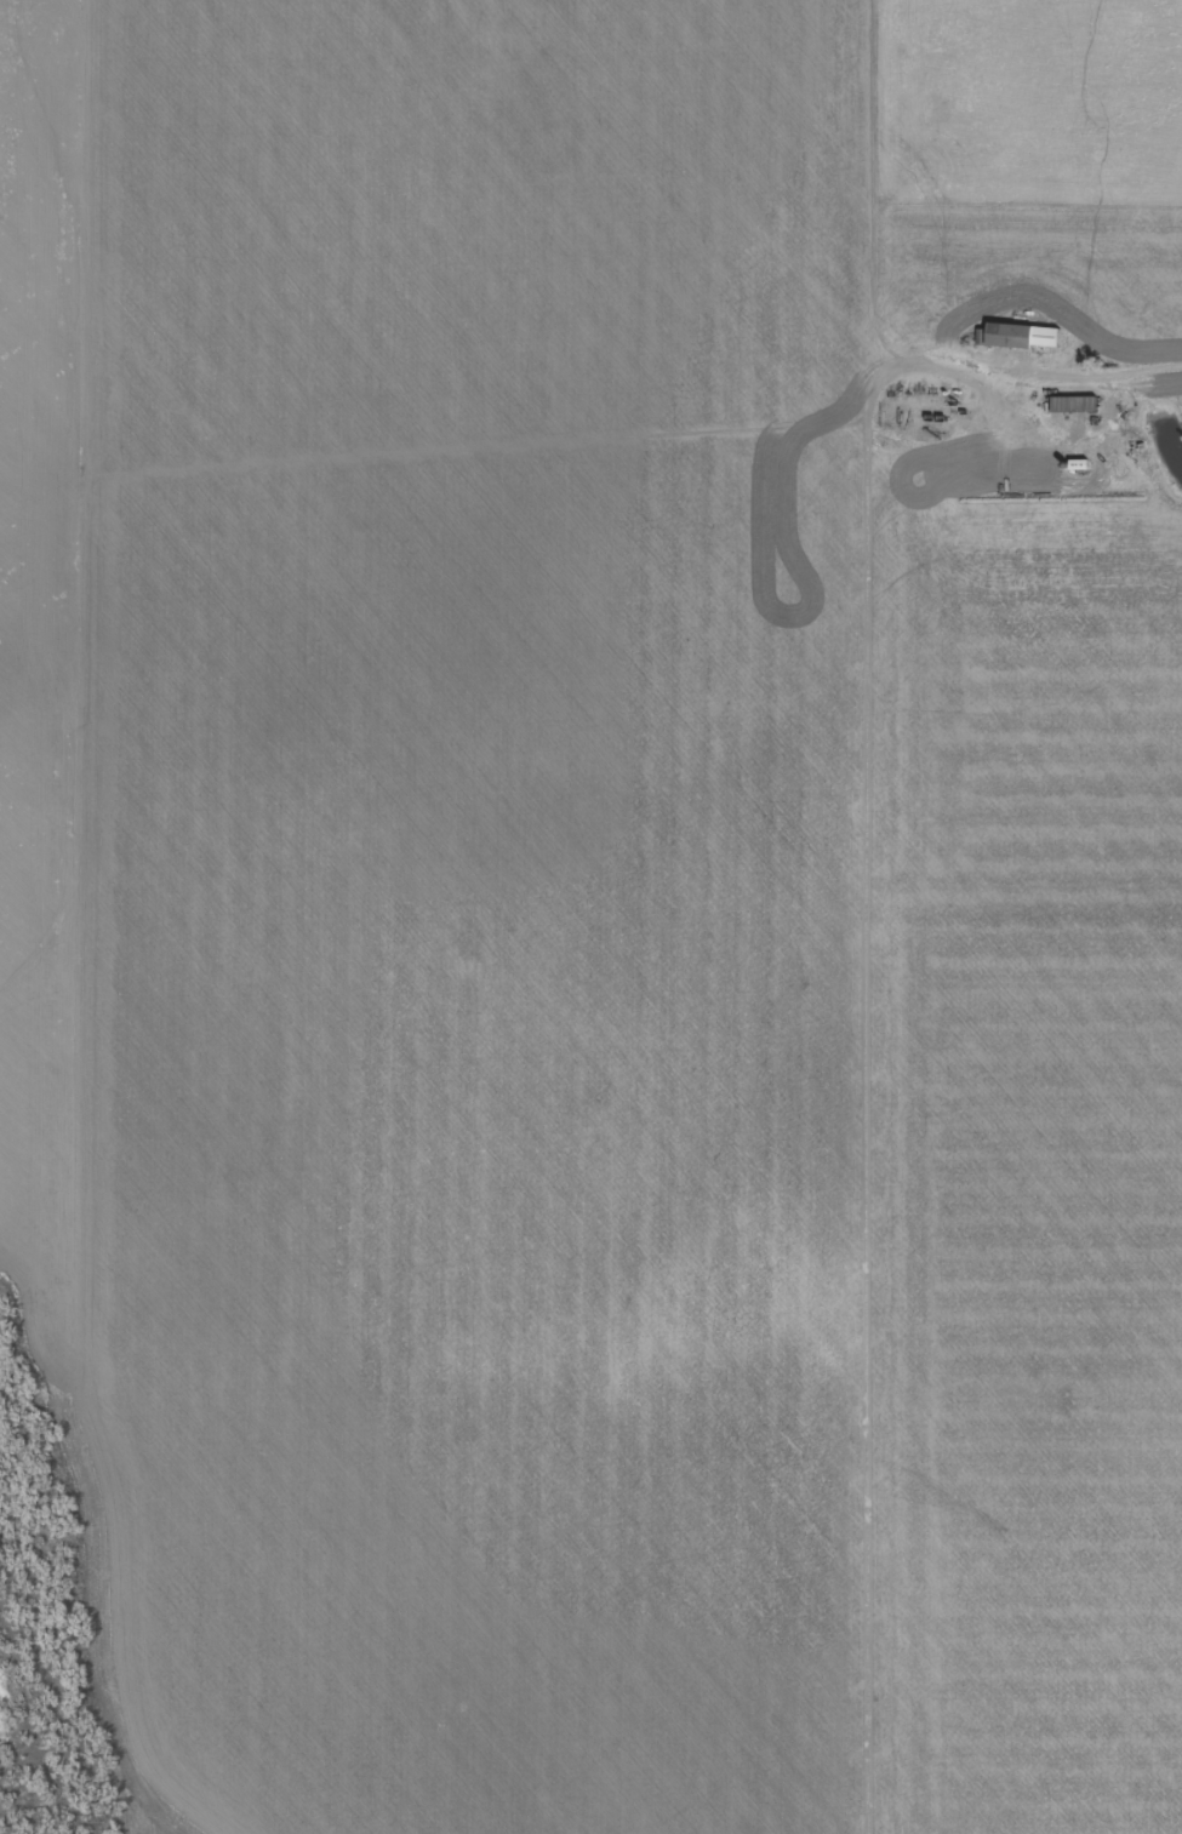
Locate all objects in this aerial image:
building: (1020, 335)
road: (1038, 362)
building: (927, 383)
building: (1070, 402)
building: (992, 450)

